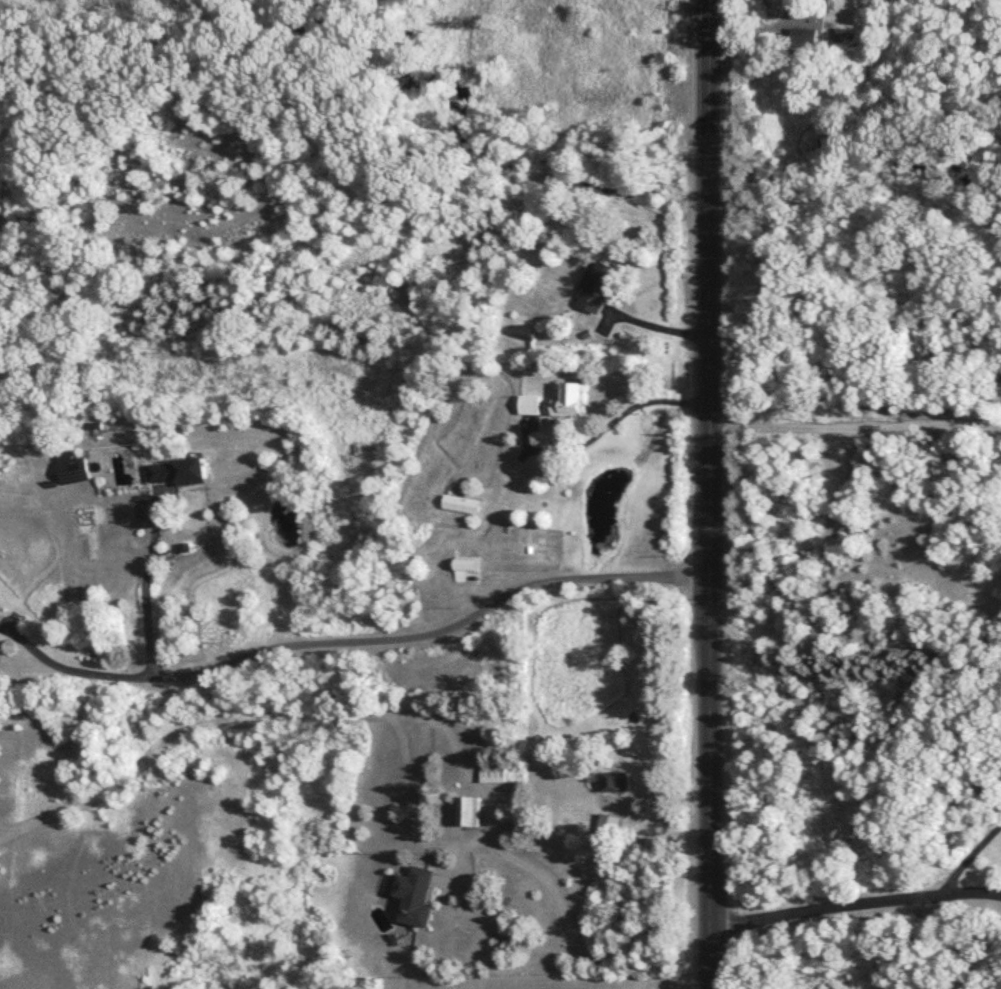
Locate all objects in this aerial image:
building: (806, 40)
building: (600, 288)
road: (655, 327)
building: (570, 402)
building: (530, 407)
road: (615, 417)
building: (73, 470)
building: (178, 473)
road: (708, 494)
building: (462, 504)
building: (465, 568)
road: (142, 591)
road: (433, 626)
road: (71, 670)
building: (491, 772)
building: (609, 782)
building: (469, 811)
building: (608, 828)
building: (416, 896)
road: (854, 907)
road: (930, 942)
road: (575, 952)

